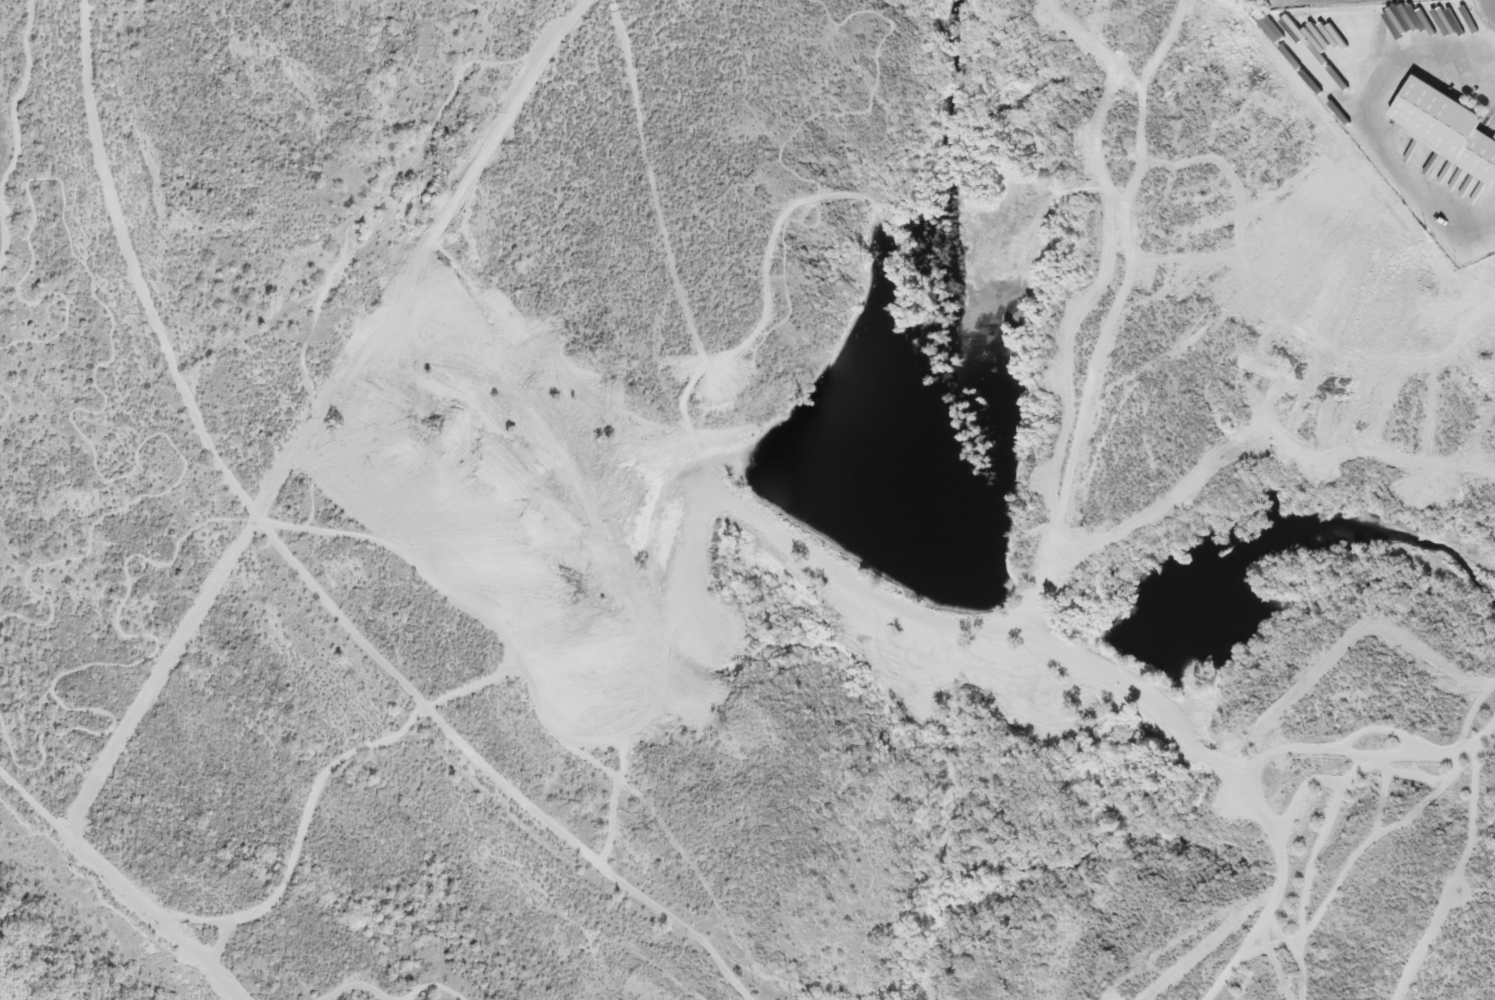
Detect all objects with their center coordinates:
building: (1446, 126)

